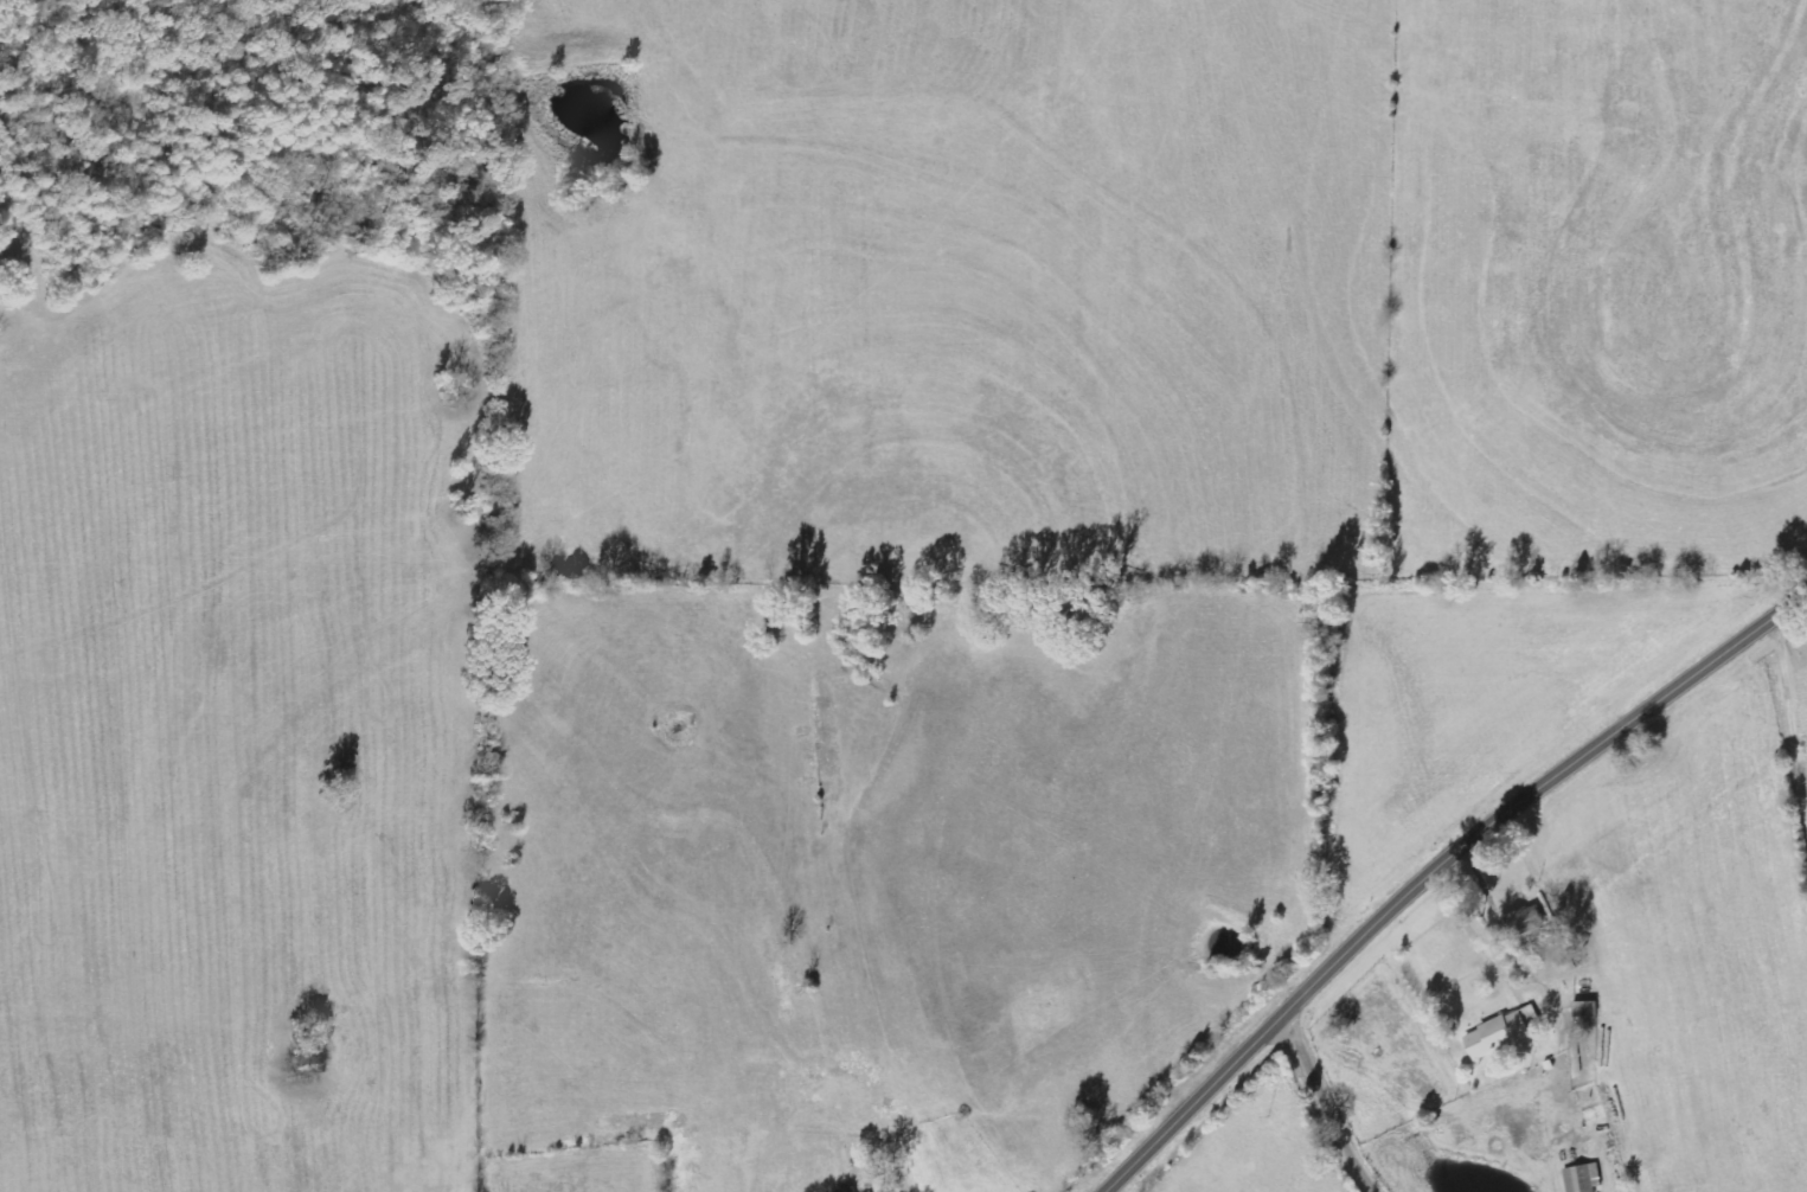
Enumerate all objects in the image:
road: (1435, 870)
building: (1524, 922)
road: (1475, 934)
building: (1502, 1033)
road: (1338, 1106)
building: (1583, 1178)
building: (847, 1190)

